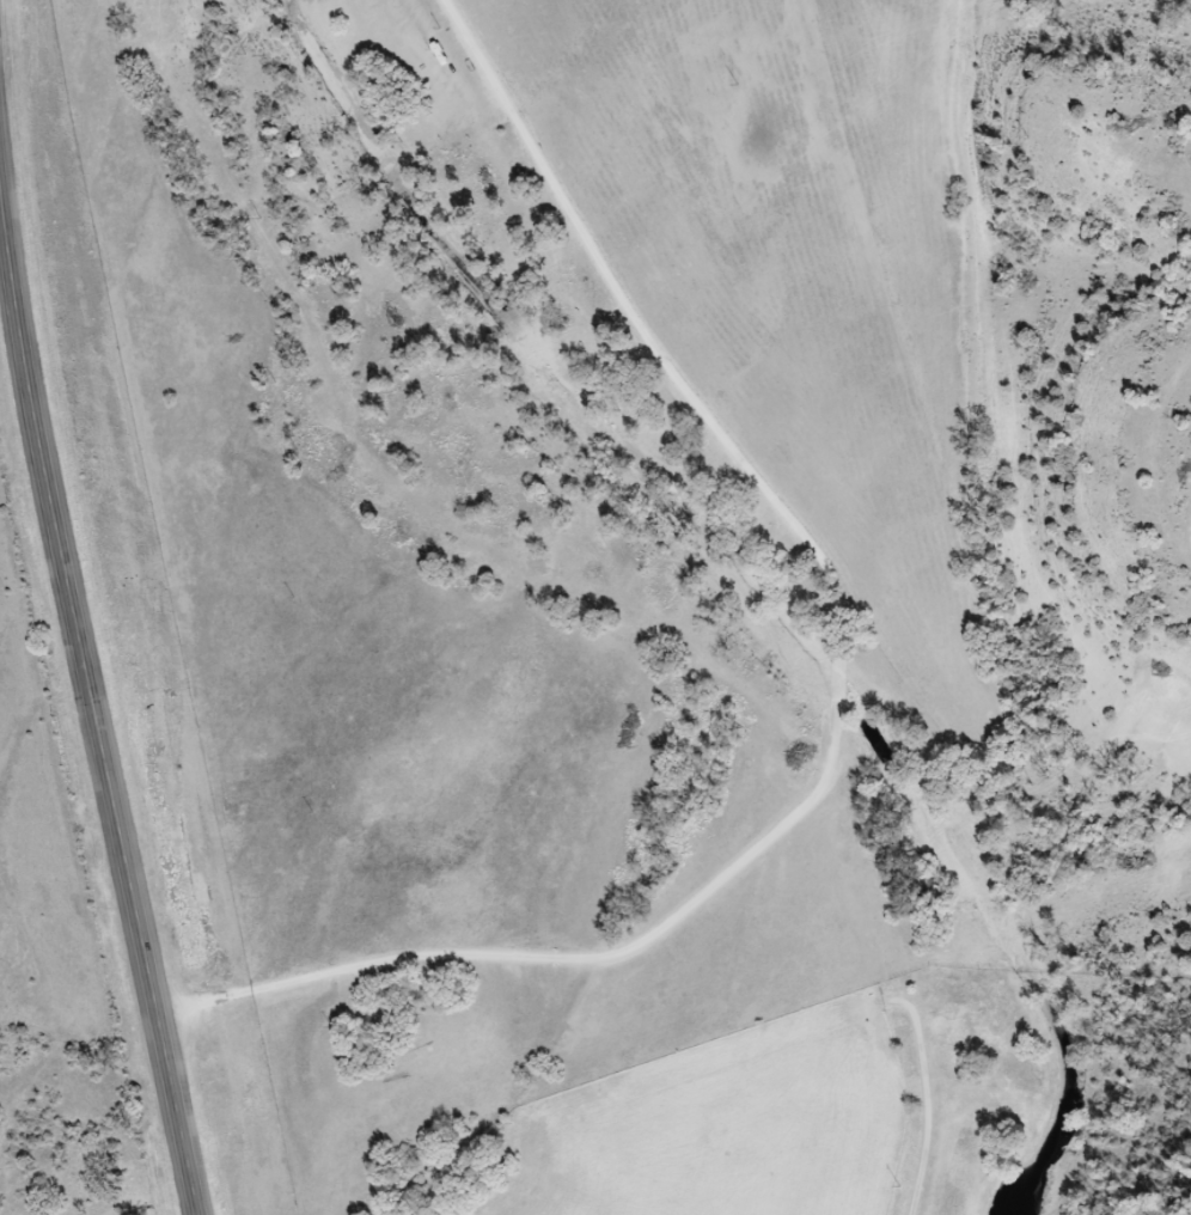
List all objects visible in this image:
road: (98, 701)

